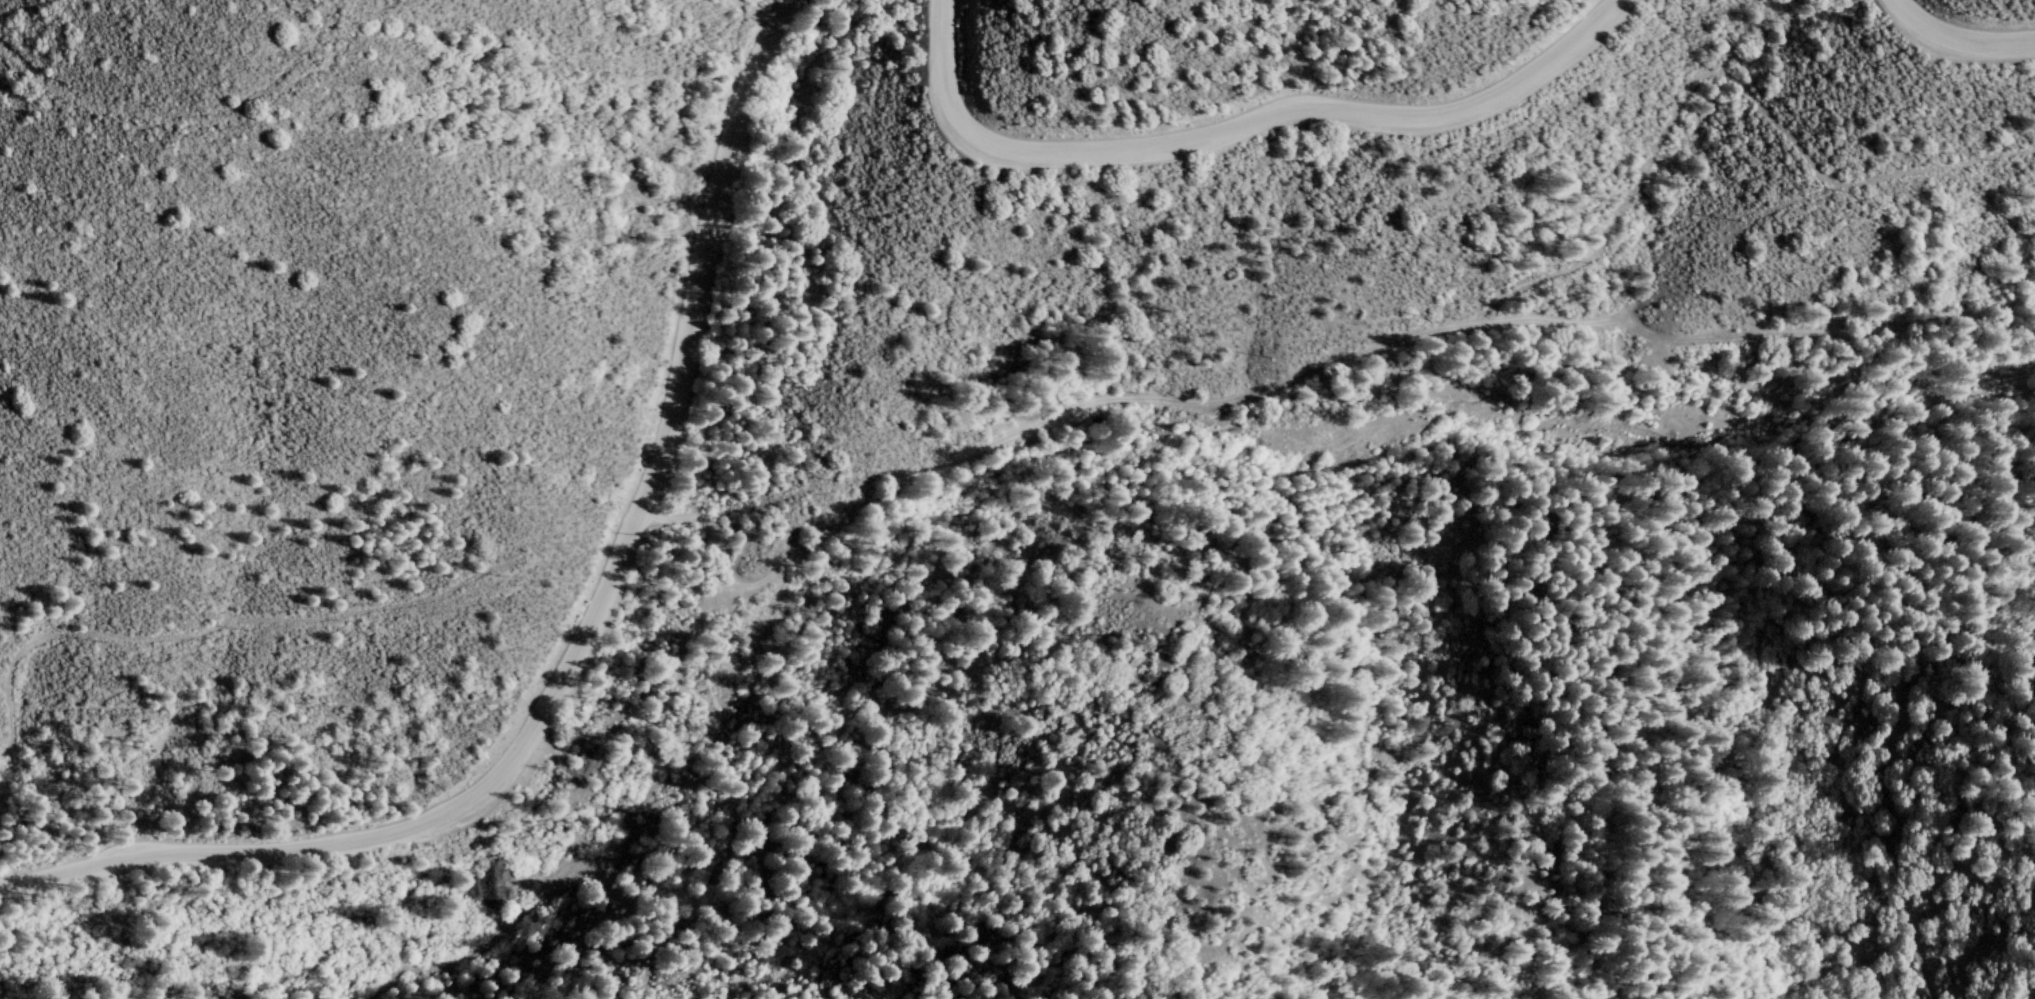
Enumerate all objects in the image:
road: (1950, 46)
road: (1241, 131)
road: (1375, 349)
road: (708, 528)
road: (701, 616)
road: (578, 640)

